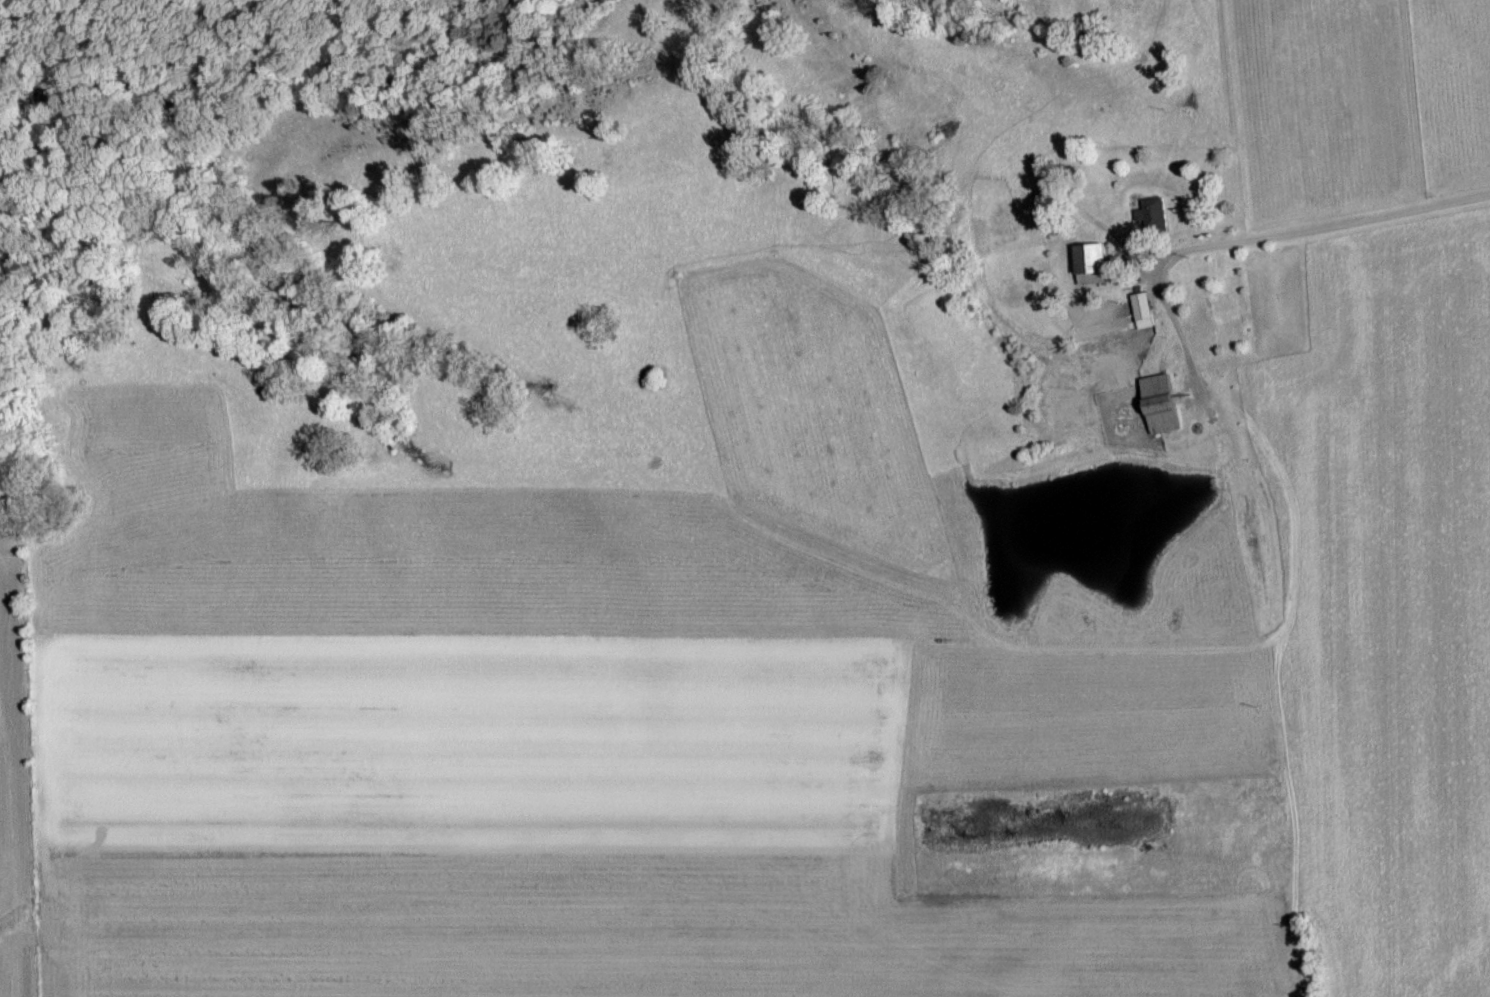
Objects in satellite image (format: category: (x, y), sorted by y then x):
building: (1149, 215)
road: (1324, 229)
building: (1087, 265)
building: (1139, 312)
road: (1173, 321)
building: (1156, 405)
crop: (818, 545)

